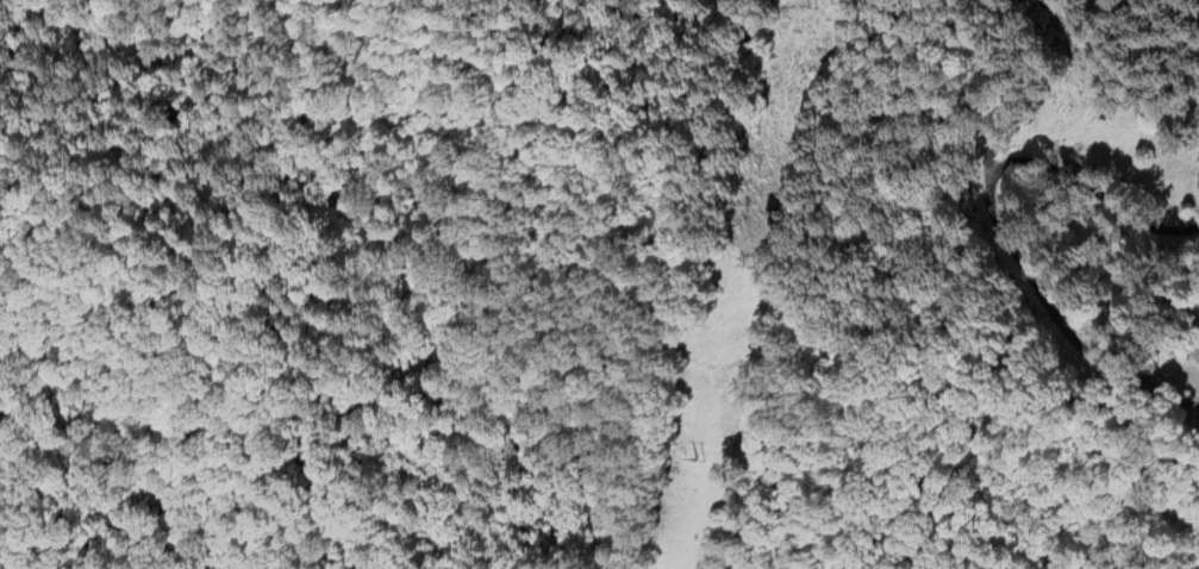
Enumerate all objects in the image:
road: (991, 210)

